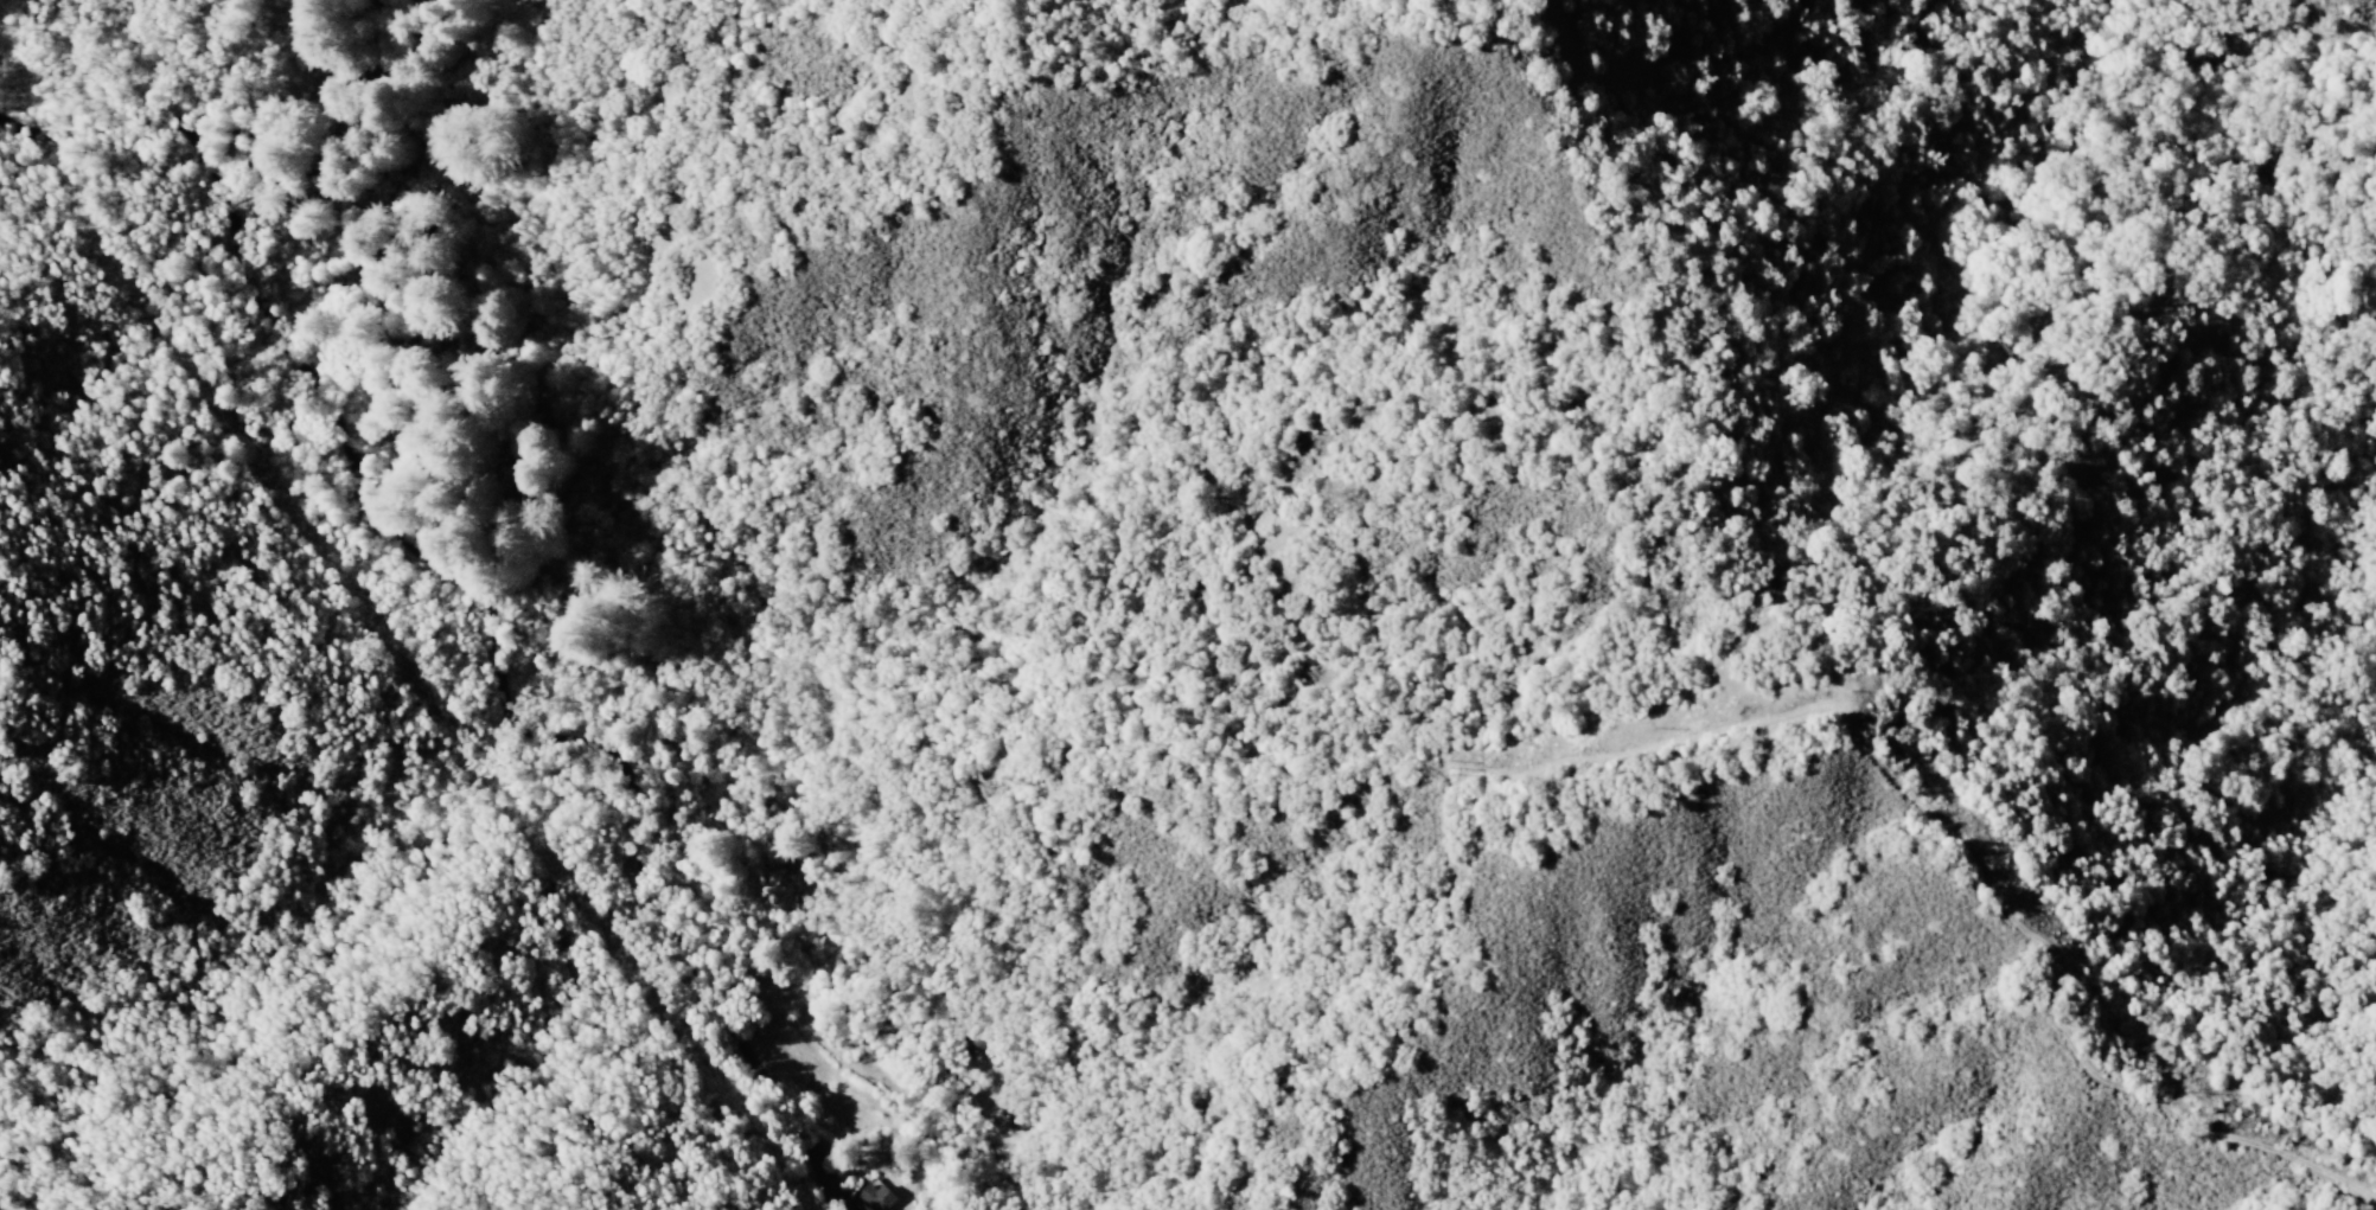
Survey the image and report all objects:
road: (468, 603)
building: (877, 1197)

